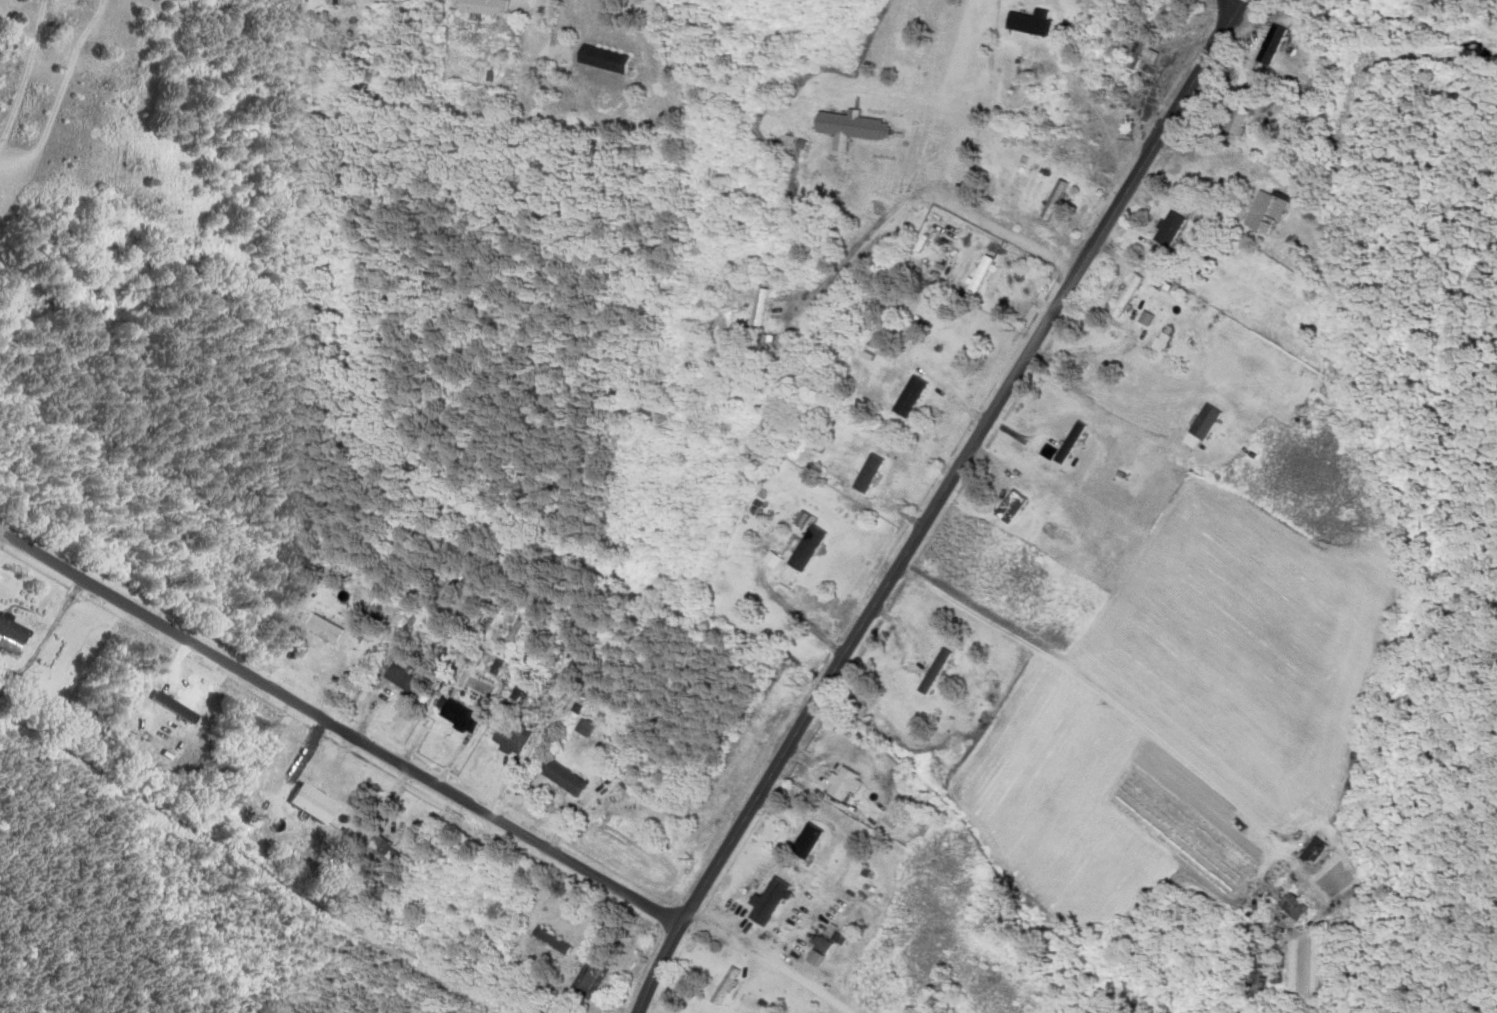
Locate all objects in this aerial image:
building: (481, 6)
building: (73, 10)
building: (1027, 22)
building: (1266, 48)
building: (1135, 54)
building: (599, 58)
building: (1234, 116)
building: (847, 128)
building: (1053, 197)
building: (1262, 211)
building: (1166, 229)
building: (977, 276)
building: (1123, 296)
building: (757, 309)
building: (906, 397)
building: (1197, 426)
building: (1067, 442)
building: (866, 474)
road: (936, 504)
building: (1007, 506)
building: (804, 548)
building: (771, 560)
building: (322, 628)
building: (11, 630)
building: (932, 664)
building: (396, 678)
building: (455, 717)
road: (339, 726)
building: (581, 728)
building: (508, 736)
building: (560, 779)
building: (840, 784)
building: (317, 819)
building: (805, 842)
building: (380, 853)
building: (764, 902)
building: (1292, 908)
building: (722, 986)

